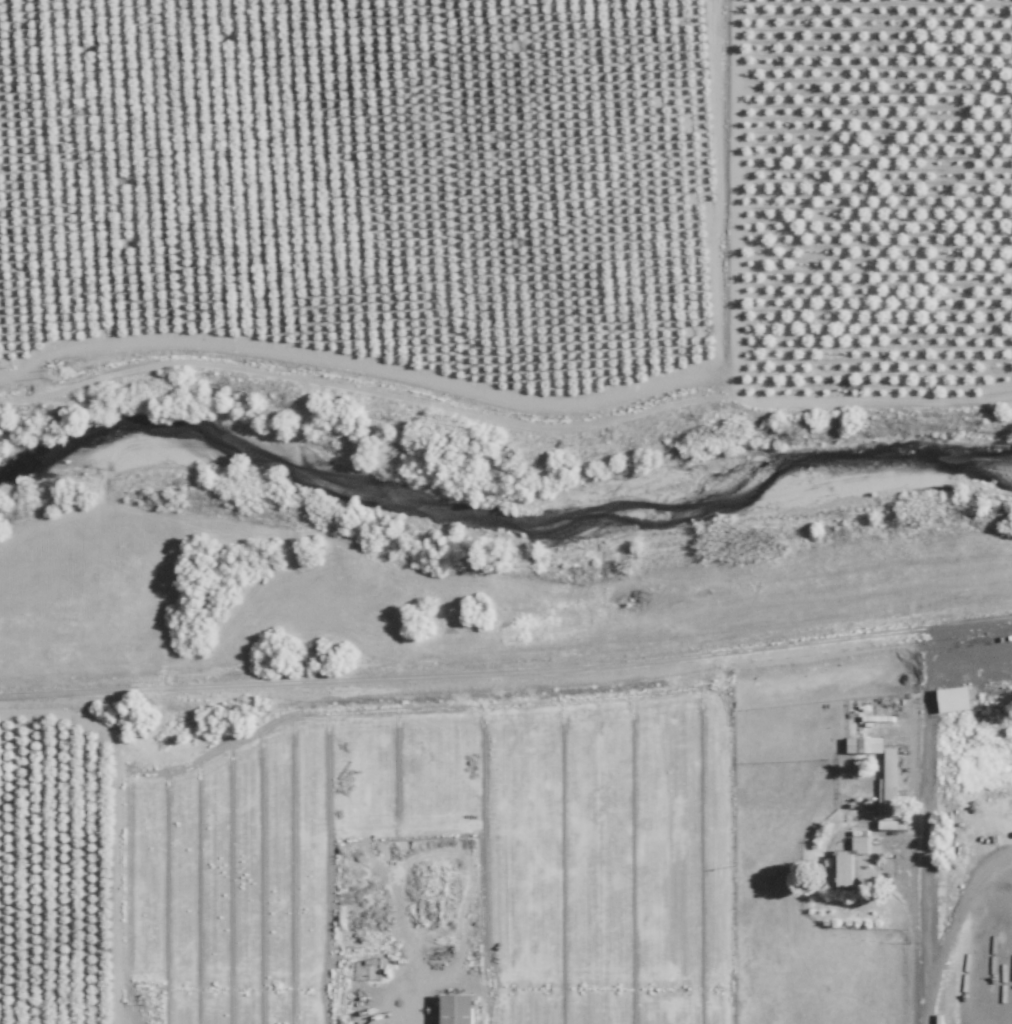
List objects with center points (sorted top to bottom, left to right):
road: (59, 174)
road: (738, 193)
crop: (520, 194)
river: (501, 512)
road: (975, 622)
road: (667, 661)
building: (954, 697)
building: (865, 743)
building: (889, 793)
building: (860, 844)
building: (845, 868)
crop: (425, 870)
building: (456, 1008)

